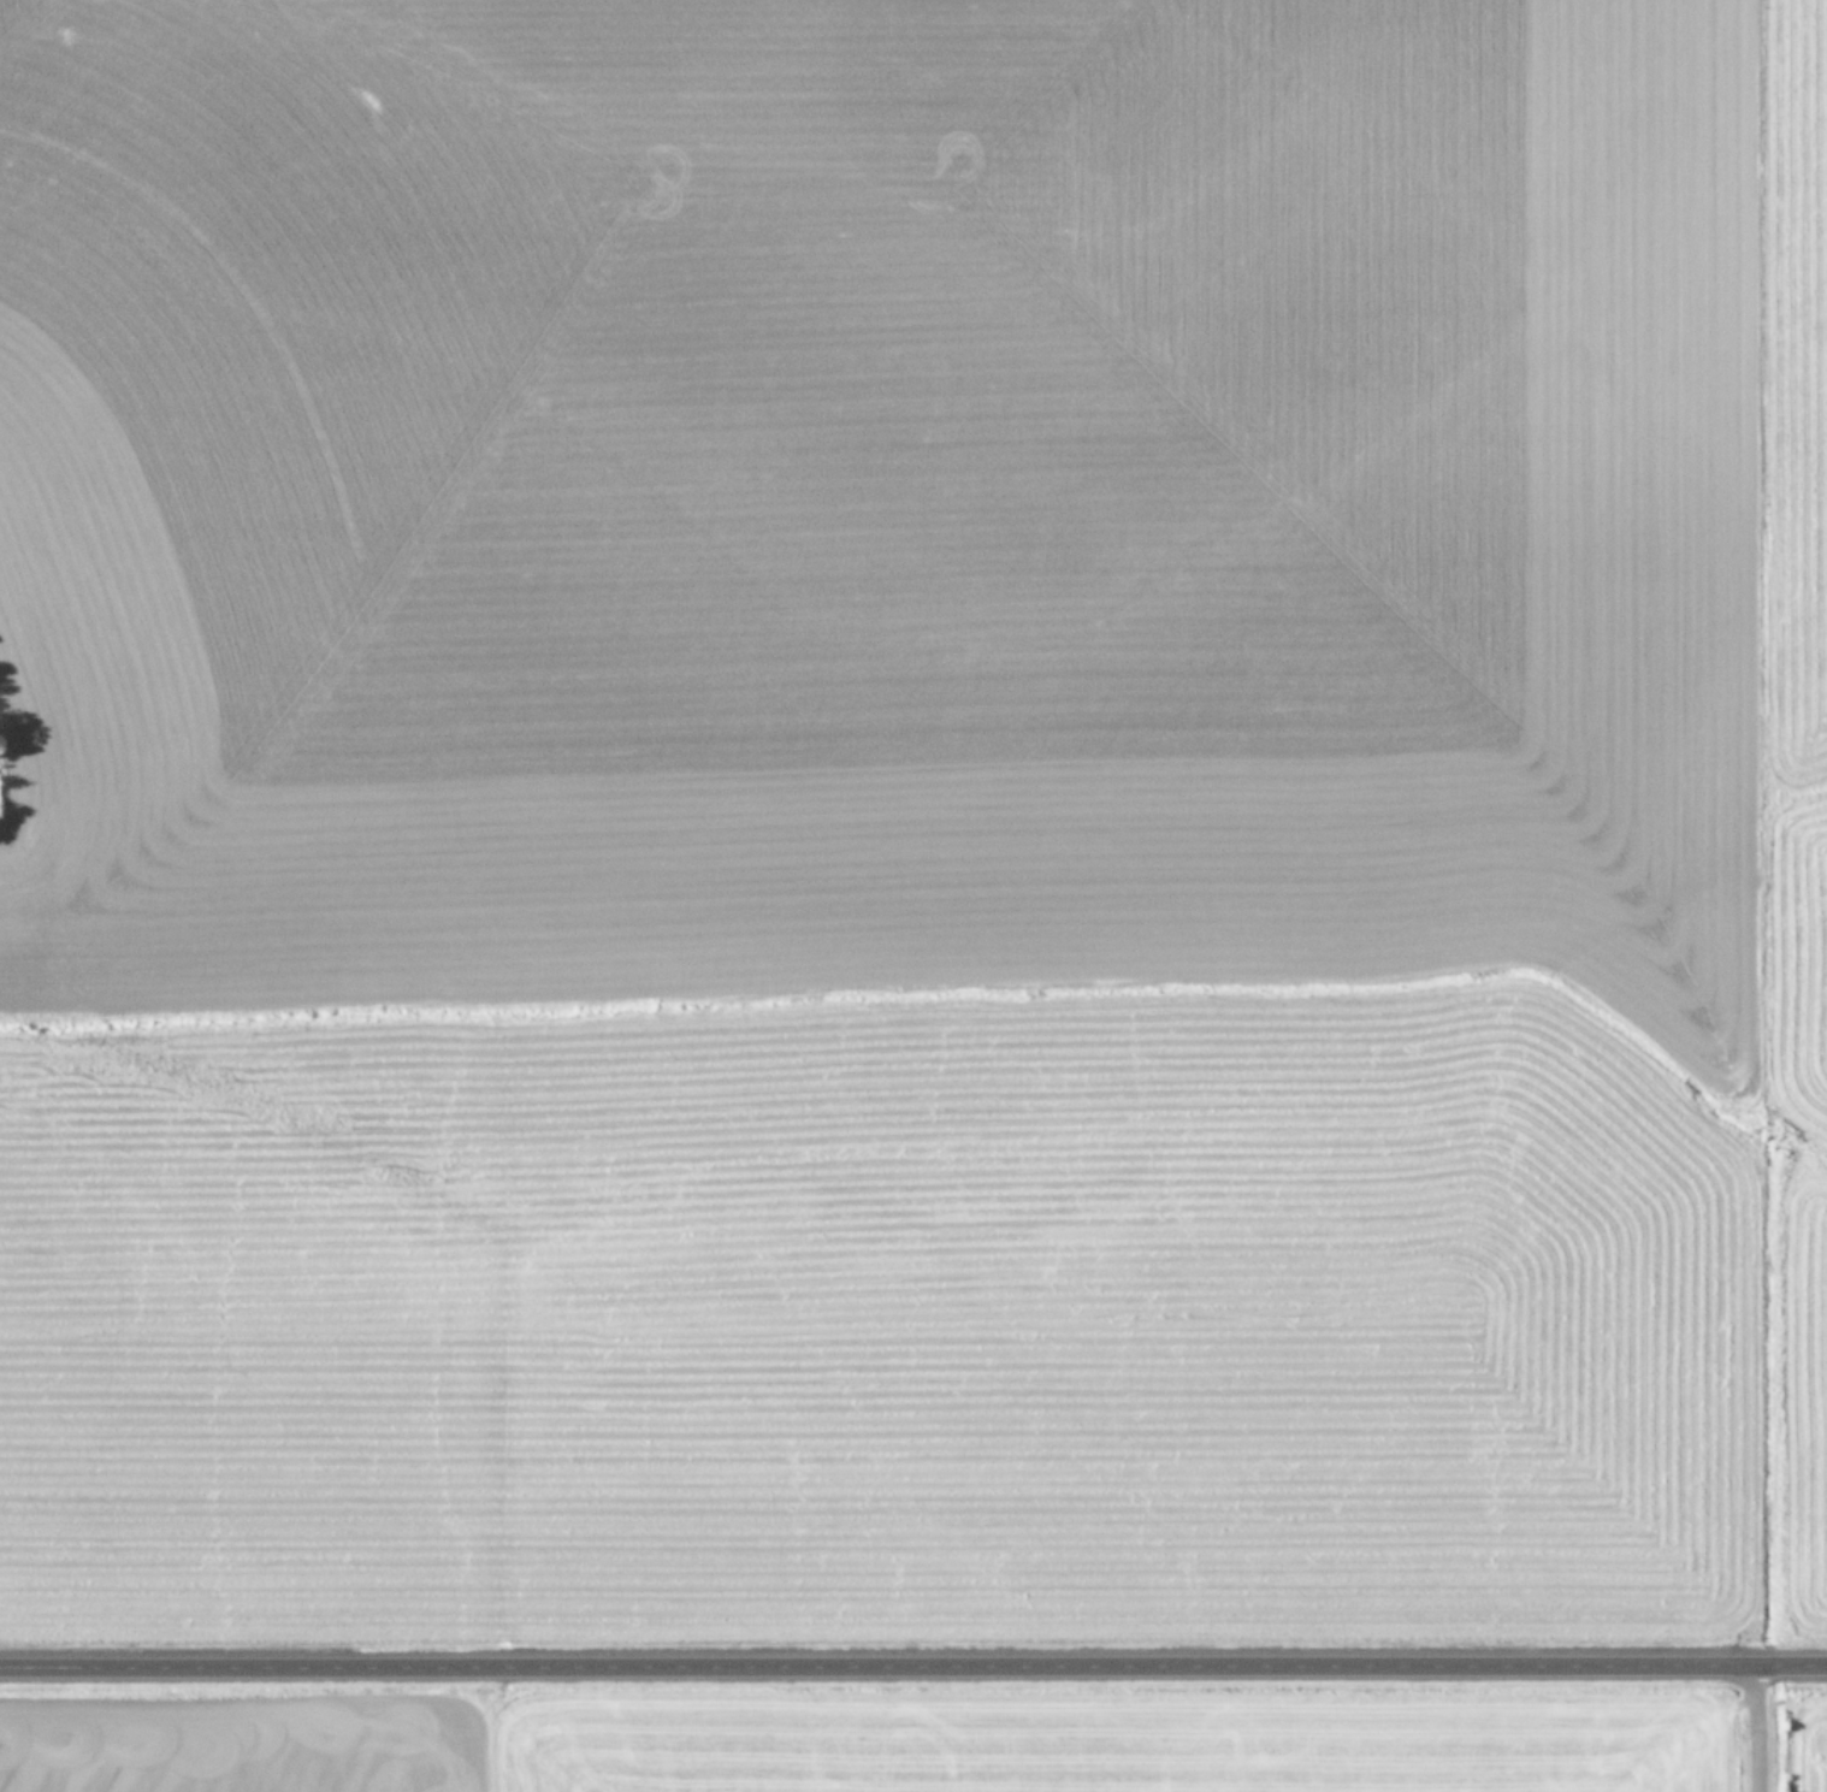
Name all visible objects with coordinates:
crop: (913, 895)
road: (917, 1652)
road: (1754, 1729)

